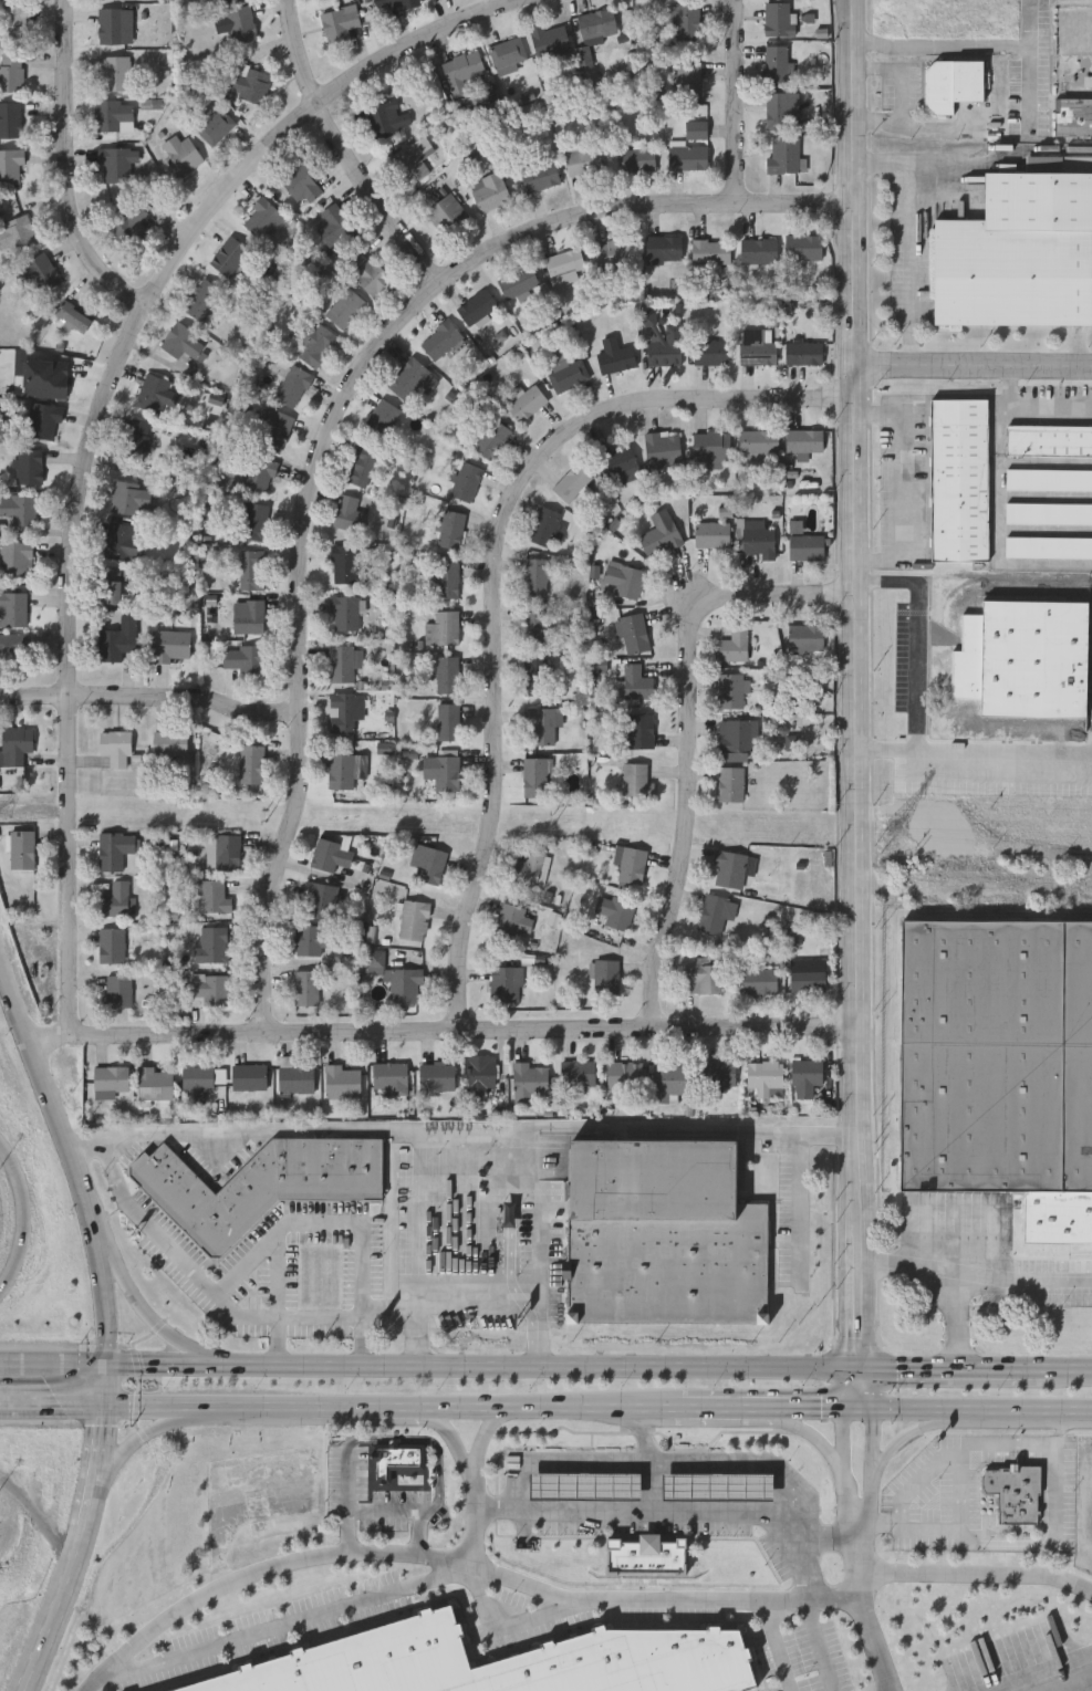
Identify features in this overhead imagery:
building: (222, 0)
building: (394, 1)
road: (516, 2)
building: (779, 17)
building: (686, 18)
building: (337, 20)
building: (596, 20)
building: (240, 21)
building: (13, 22)
building: (110, 22)
building: (549, 38)
road: (960, 45)
building: (508, 50)
building: (778, 61)
building: (461, 63)
building: (11, 69)
building: (113, 70)
building: (688, 75)
building: (248, 80)
building: (951, 82)
road: (1029, 84)
road: (899, 95)
road: (730, 102)
building: (777, 107)
building: (113, 112)
building: (1072, 114)
building: (386, 115)
building: (9, 117)
building: (215, 123)
building: (696, 127)
road: (944, 128)
building: (179, 150)
road: (339, 150)
building: (783, 153)
building: (687, 155)
building: (637, 157)
building: (410, 158)
building: (583, 159)
road: (1033, 161)
road: (72, 163)
building: (113, 163)
road: (942, 163)
building: (11, 164)
building: (539, 173)
building: (301, 180)
building: (489, 189)
building: (446, 212)
building: (262, 217)
building: (128, 222)
building: (333, 222)
building: (17, 231)
road: (907, 236)
building: (663, 244)
building: (802, 244)
building: (710, 249)
building: (759, 249)
building: (1019, 251)
building: (228, 253)
building: (614, 253)
building: (563, 260)
building: (38, 269)
building: (365, 270)
building: (518, 280)
building: (200, 296)
building: (476, 304)
building: (343, 305)
building: (71, 314)
building: (440, 337)
building: (180, 338)
building: (314, 341)
building: (666, 345)
building: (756, 345)
building: (710, 349)
building: (803, 351)
building: (614, 353)
road: (971, 369)
building: (51, 372)
building: (566, 373)
building: (407, 376)
building: (292, 383)
building: (152, 390)
building: (526, 400)
road: (1033, 404)
road: (92, 407)
building: (42, 417)
building: (379, 418)
road: (325, 426)
building: (273, 427)
building: (137, 436)
building: (491, 436)
building: (803, 437)
building: (758, 438)
building: (1049, 438)
building: (709, 442)
building: (662, 445)
building: (616, 458)
building: (361, 462)
building: (29, 463)
building: (259, 470)
building: (959, 478)
building: (1049, 478)
building: (466, 479)
building: (571, 480)
road: (899, 486)
building: (128, 495)
building: (19, 505)
building: (349, 511)
building: (1049, 511)
building: (253, 519)
building: (543, 524)
building: (450, 526)
building: (659, 531)
building: (710, 532)
building: (758, 536)
building: (119, 539)
building: (805, 544)
building: (1049, 545)
building: (15, 555)
building: (343, 562)
building: (251, 567)
road: (852, 568)
road: (493, 573)
building: (534, 574)
building: (447, 576)
building: (622, 578)
building: (112, 583)
building: (13, 606)
building: (344, 609)
building: (250, 615)
building: (534, 623)
building: (441, 626)
building: (633, 630)
building: (763, 630)
building: (804, 635)
building: (117, 637)
building: (171, 641)
building: (9, 643)
building: (734, 643)
building: (242, 656)
building: (341, 660)
building: (1023, 661)
road: (917, 666)
building: (446, 671)
building: (534, 672)
building: (636, 680)
building: (730, 688)
road: (147, 699)
building: (343, 709)
building: (446, 718)
building: (540, 721)
building: (639, 729)
building: (741, 733)
road: (683, 734)
building: (169, 740)
building: (17, 742)
building: (115, 744)
building: (245, 760)
road: (918, 760)
building: (341, 769)
building: (446, 771)
building: (534, 774)
building: (635, 777)
building: (729, 782)
power tower: (4, 813)
power tower: (896, 829)
building: (115, 846)
building: (22, 847)
building: (223, 848)
building: (331, 853)
building: (427, 860)
building: (631, 863)
building: (732, 865)
building: (529, 866)
building: (212, 894)
building: (115, 896)
building: (319, 897)
building: (614, 909)
building: (713, 911)
railway: (998, 912)
building: (413, 918)
building: (512, 920)
building: (313, 936)
building: (112, 942)
building: (210, 942)
building: (605, 973)
building: (805, 973)
building: (394, 974)
building: (703, 974)
building: (758, 978)
building: (506, 981)
building: (305, 984)
building: (118, 988)
building: (209, 988)
road: (461, 1026)
road: (48, 1036)
building: (996, 1055)
building: (576, 1071)
building: (717, 1072)
building: (388, 1073)
building: (436, 1073)
building: (478, 1073)
building: (623, 1073)
building: (248, 1074)
building: (293, 1074)
building: (765, 1075)
building: (804, 1075)
building: (111, 1076)
building: (200, 1077)
building: (530, 1077)
building: (341, 1078)
building: (668, 1078)
building: (154, 1082)
road: (460, 1134)
building: (258, 1183)
road: (801, 1202)
road: (22, 1220)
road: (319, 1222)
building: (663, 1231)
road: (541, 1249)
road: (860, 1273)
road: (951, 1274)
road: (278, 1276)
road: (1023, 1284)
road: (220, 1299)
road: (443, 1299)
road: (150, 1315)
road: (107, 1319)
road: (361, 1342)
road: (277, 1344)
traffic signals: (107, 1367)
road: (429, 1370)
traffic signals: (861, 1372)
road: (954, 1372)
road: (1070, 1372)
road: (552, 1407)
road: (696, 1407)
road: (746, 1407)
road: (819, 1408)
road: (322, 1409)
traffic signals: (861, 1409)
road: (913, 1409)
road: (1028, 1409)
road: (160, 1410)
road: (52, 1411)
traffic signals: (105, 1411)
road: (804, 1431)
road: (491, 1437)
road: (458, 1438)
road: (897, 1440)
road: (434, 1442)
road: (137, 1447)
road: (847, 1453)
road: (869, 1454)
building: (395, 1458)
road: (656, 1459)
road: (654, 1461)
road: (349, 1480)
building: (584, 1484)
gas station: (584, 1484)
building: (718, 1484)
gas station: (718, 1484)
road: (961, 1490)
building: (1012, 1490)
road: (387, 1509)
road: (659, 1511)
road: (481, 1521)
road: (881, 1524)
road: (947, 1530)
road: (812, 1544)
building: (646, 1554)
road: (570, 1599)
road: (863, 1600)
road: (285, 1624)
road: (778, 1645)
road: (820, 1645)
building: (501, 1662)
road: (1049, 1677)
road: (25, 1690)

